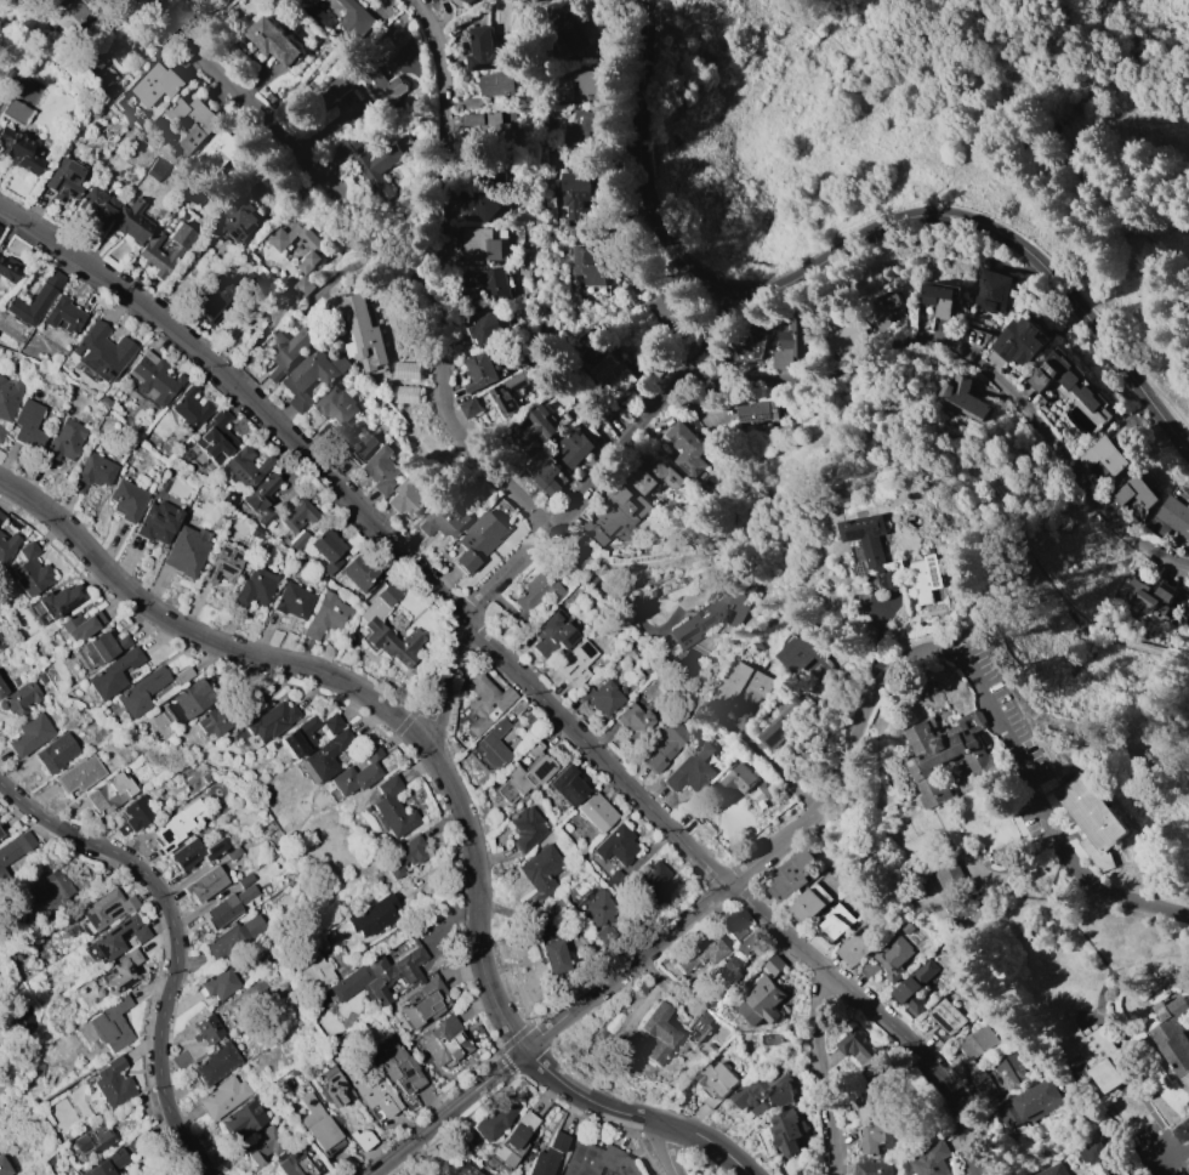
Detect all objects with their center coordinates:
building: (436, 0)
building: (468, 1)
building: (64, 12)
building: (355, 18)
building: (573, 33)
building: (273, 40)
building: (485, 52)
building: (7, 73)
building: (97, 75)
building: (155, 84)
building: (366, 84)
building: (496, 85)
building: (578, 85)
road: (893, 86)
building: (15, 110)
road: (1108, 110)
building: (192, 121)
building: (493, 125)
building: (585, 126)
building: (237, 149)
road: (454, 149)
building: (18, 152)
road: (300, 154)
building: (376, 160)
building: (155, 168)
road: (645, 176)
road: (1108, 176)
building: (62, 178)
building: (578, 194)
building: (192, 195)
building: (96, 205)
building: (487, 205)
building: (239, 218)
building: (131, 221)
road: (1007, 237)
building: (480, 244)
building: (318, 249)
building: (147, 250)
building: (590, 263)
building: (7, 269)
building: (489, 280)
building: (305, 285)
building: (992, 290)
building: (940, 297)
building: (212, 299)
building: (34, 300)
building: (669, 307)
building: (886, 311)
building: (62, 314)
building: (484, 329)
building: (364, 334)
building: (849, 336)
building: (790, 340)
building: (1019, 341)
building: (749, 345)
building: (286, 350)
building: (99, 351)
road: (975, 354)
building: (75, 365)
building: (406, 370)
building: (478, 371)
building: (311, 375)
building: (611, 375)
building: (154, 379)
building: (1069, 380)
building: (406, 393)
building: (507, 394)
building: (7, 398)
building: (965, 399)
building: (103, 402)
building: (336, 403)
building: (189, 407)
building: (470, 407)
building: (757, 411)
building: (27, 424)
building: (537, 430)
building: (1, 431)
building: (325, 431)
road: (468, 435)
building: (214, 437)
building: (63, 439)
building: (358, 439)
building: (574, 447)
road: (889, 447)
building: (692, 452)
building: (1105, 455)
building: (245, 466)
building: (91, 471)
building: (383, 471)
building: (546, 477)
building: (654, 478)
building: (1136, 493)
building: (1182, 495)
building: (228, 498)
building: (261, 498)
building: (405, 498)
building: (125, 499)
road: (573, 510)
building: (296, 513)
building: (615, 513)
building: (1, 516)
building: (1172, 518)
building: (442, 520)
building: (157, 522)
building: (255, 532)
building: (297, 539)
building: (478, 540)
building: (869, 541)
building: (6, 544)
building: (326, 549)
building: (184, 550)
building: (221, 564)
building: (30, 571)
building: (357, 572)
building: (927, 577)
building: (889, 579)
building: (254, 586)
road: (605, 590)
building: (535, 592)
building: (1147, 595)
building: (57, 600)
building: (291, 601)
building: (1188, 606)
building: (325, 615)
building: (709, 617)
building: (371, 623)
building: (79, 624)
building: (551, 635)
building: (102, 647)
building: (804, 647)
road: (914, 654)
building: (574, 663)
road: (517, 671)
building: (112, 672)
building: (181, 675)
parking lot: (988, 676)
building: (13, 680)
building: (1, 689)
building: (740, 689)
building: (141, 691)
building: (601, 697)
building: (189, 698)
building: (19, 699)
building: (484, 703)
building: (212, 720)
building: (271, 720)
building: (633, 720)
building: (790, 720)
building: (330, 723)
building: (28, 734)
building: (298, 737)
building: (512, 738)
building: (665, 744)
building: (271, 745)
building: (493, 745)
building: (533, 749)
building: (53, 753)
building: (949, 754)
building: (325, 756)
building: (690, 768)
building: (357, 773)
building: (78, 774)
road: (444, 778)
building: (523, 778)
building: (735, 779)
building: (565, 785)
building: (767, 788)
building: (108, 793)
building: (391, 808)
road: (1045, 810)
building: (594, 812)
building: (133, 814)
building: (1094, 819)
building: (176, 824)
building: (524, 829)
building: (0, 835)
building: (615, 845)
building: (15, 846)
building: (194, 852)
building: (234, 852)
building: (403, 856)
building: (1, 874)
building: (791, 874)
building: (539, 875)
building: (950, 875)
building: (654, 879)
building: (244, 880)
building: (614, 881)
building: (204, 884)
road: (732, 885)
building: (51, 890)
building: (809, 902)
building: (227, 907)
building: (107, 908)
building: (596, 908)
building: (556, 912)
building: (370, 916)
building: (836, 923)
building: (734, 929)
building: (603, 935)
building: (118, 937)
building: (233, 937)
road: (173, 941)
building: (745, 944)
building: (857, 946)
building: (701, 952)
building: (552, 957)
building: (894, 957)
building: (774, 964)
building: (870, 969)
building: (732, 970)
building: (119, 971)
building: (313, 971)
building: (379, 976)
building: (217, 983)
building: (916, 986)
building: (641, 987)
building: (762, 1001)
building: (423, 1003)
building: (945, 1018)
building: (110, 1023)
building: (698, 1026)
building: (206, 1029)
building: (655, 1032)
building: (1173, 1034)
building: (770, 1039)
building: (443, 1041)
building: (978, 1041)
building: (859, 1048)
building: (1096, 1055)
building: (180, 1058)
building: (214, 1063)
building: (396, 1067)
building: (35, 1069)
road: (825, 1075)
building: (1001, 1078)
building: (716, 1080)
building: (110, 1083)
building: (326, 1085)
building: (368, 1085)
building: (764, 1091)
building: (222, 1096)
building: (876, 1102)
building: (1030, 1106)
road: (446, 1112)
building: (494, 1119)
building: (243, 1120)
building: (315, 1124)
building: (787, 1130)
building: (880, 1137)
building: (93, 1139)
building: (360, 1139)
building: (512, 1140)
building: (133, 1143)
building: (262, 1145)
road: (666, 1150)
building: (1093, 1151)
road: (1170, 1153)
building: (546, 1156)
road: (1114, 1157)
building: (932, 1159)
building: (596, 1160)
building: (6, 1164)
building: (107, 1164)
building: (292, 1164)
building: (448, 1167)
building: (872, 1168)
building: (1054, 1170)
road: (1154, 1170)
building: (233, 1171)
building: (800, 1171)
building: (473, 1173)
building: (1115, 1174)

